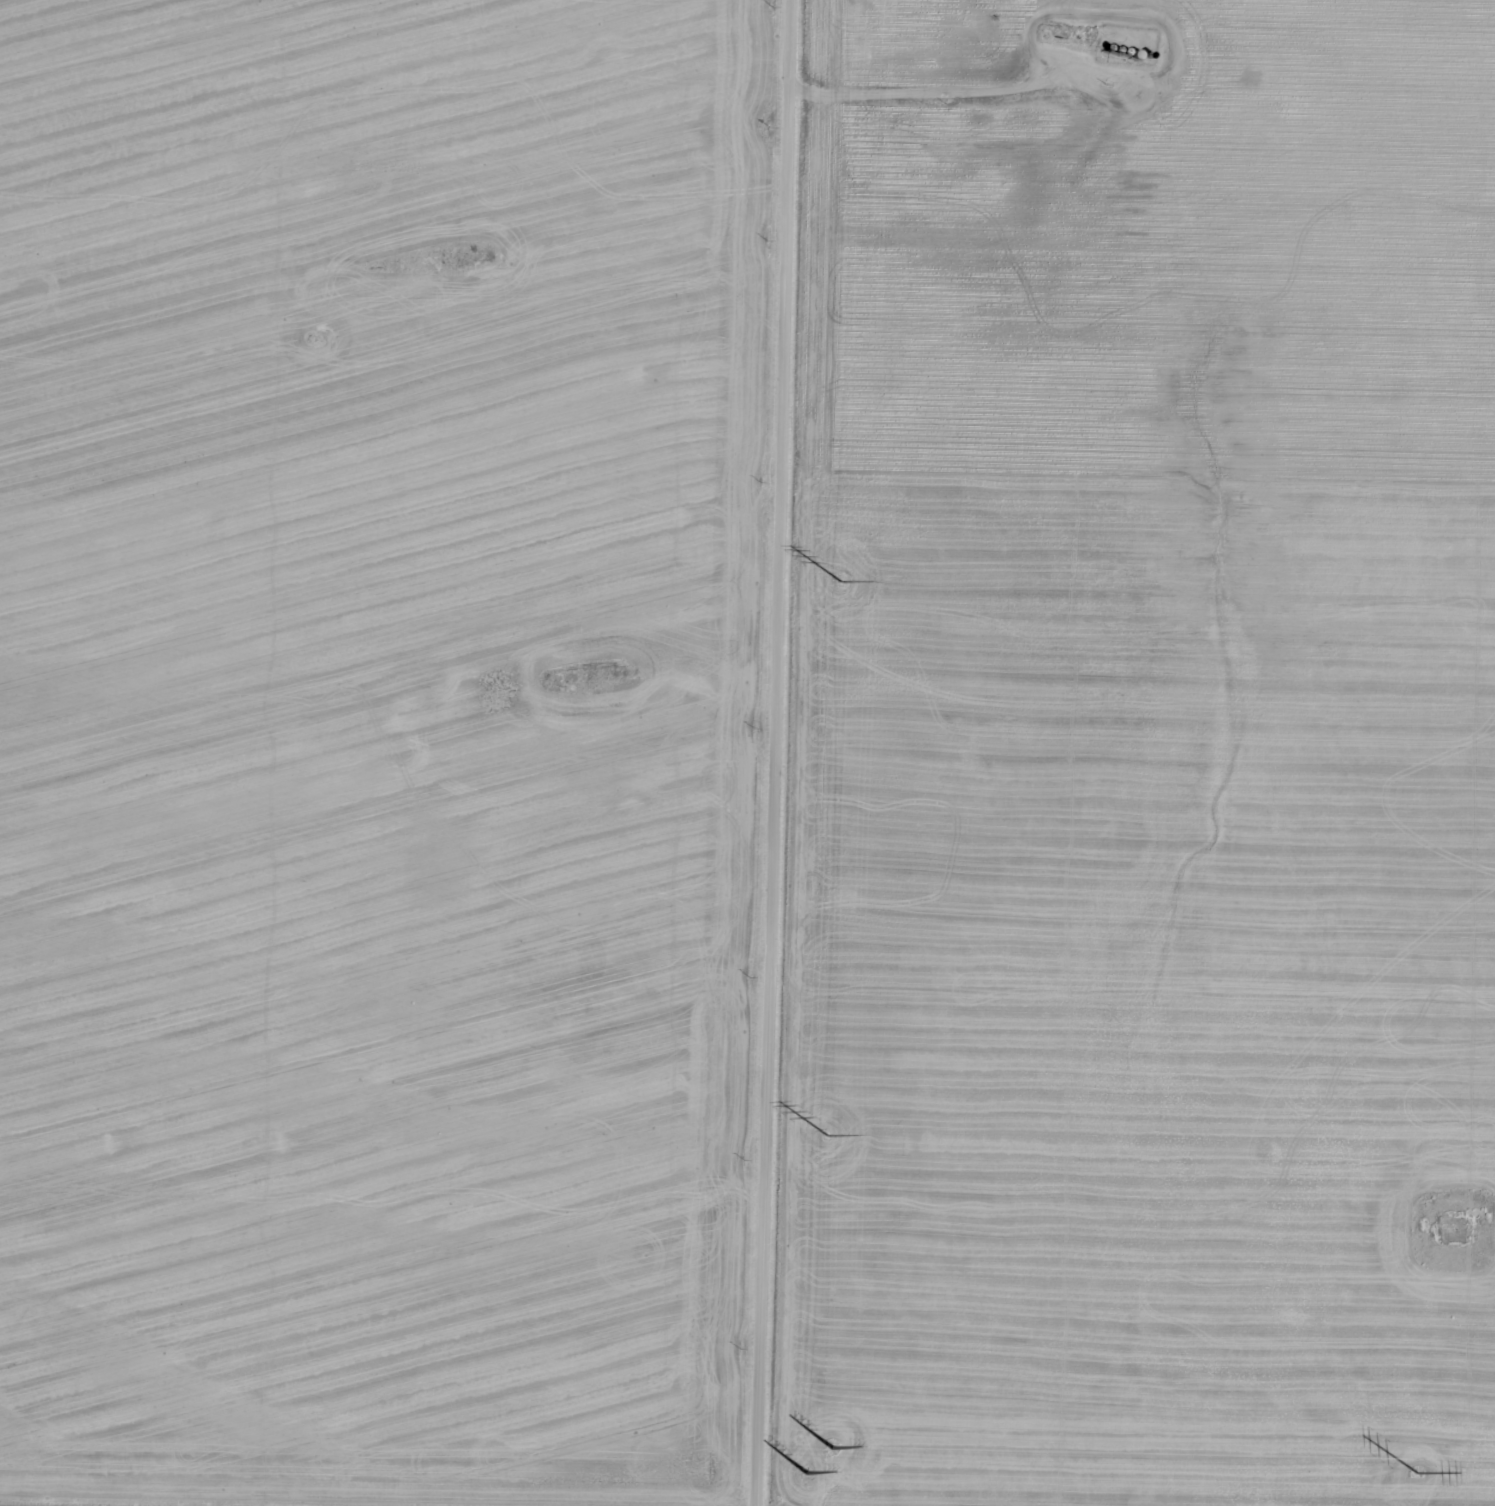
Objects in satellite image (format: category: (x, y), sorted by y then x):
road: (1380, 42)
power tower: (844, 583)
road: (770, 752)
power tower: (830, 1136)
power tower: (824, 1458)
power tower: (1419, 1473)
road: (537, 1493)

